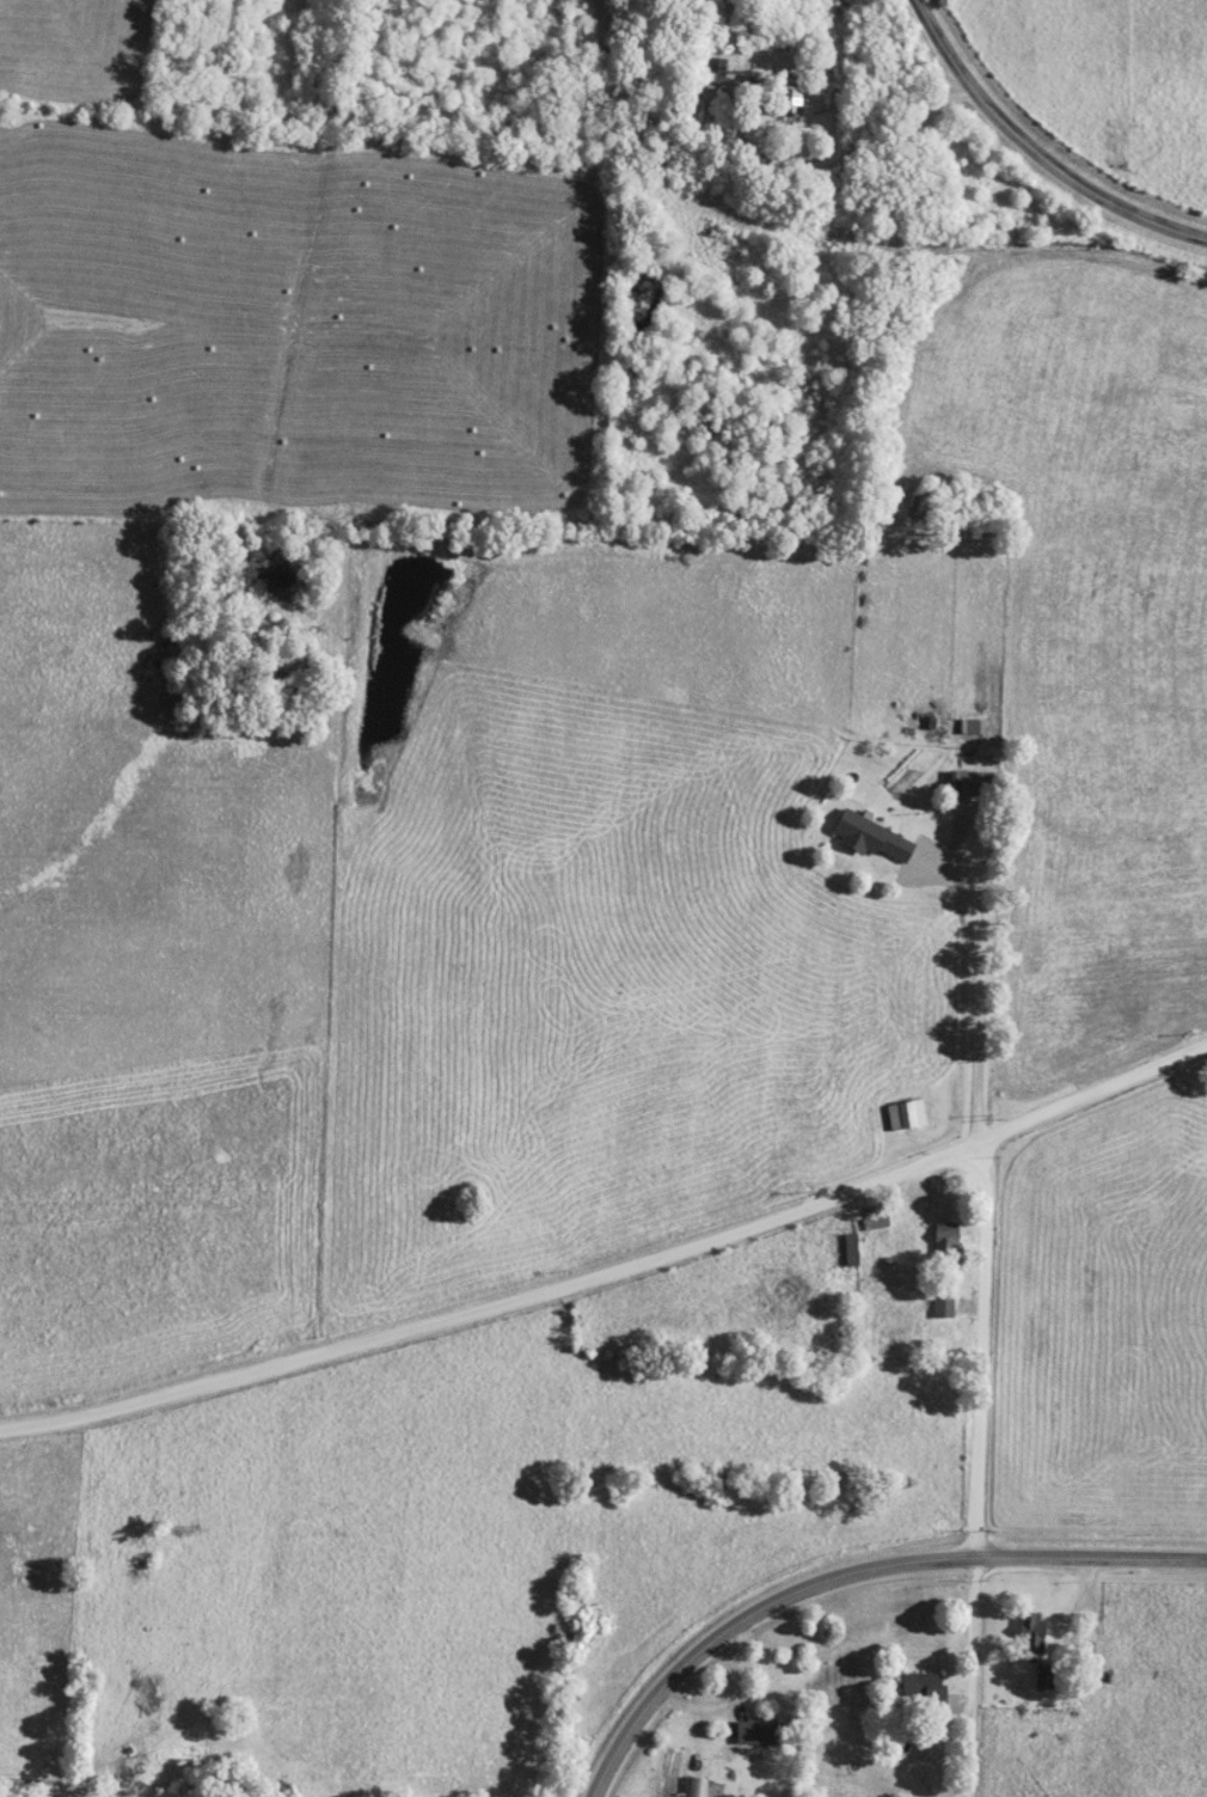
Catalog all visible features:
building: (716, 68)
building: (789, 94)
road: (799, 124)
road: (1033, 153)
building: (972, 725)
building: (974, 782)
building: (872, 837)
road: (980, 983)
building: (905, 1113)
building: (946, 1240)
road: (614, 1272)
building: (943, 1303)
road: (979, 1468)
road: (851, 1572)
building: (1031, 1631)
building: (1043, 1676)
building: (925, 1686)
building: (759, 1730)
building: (694, 1786)

